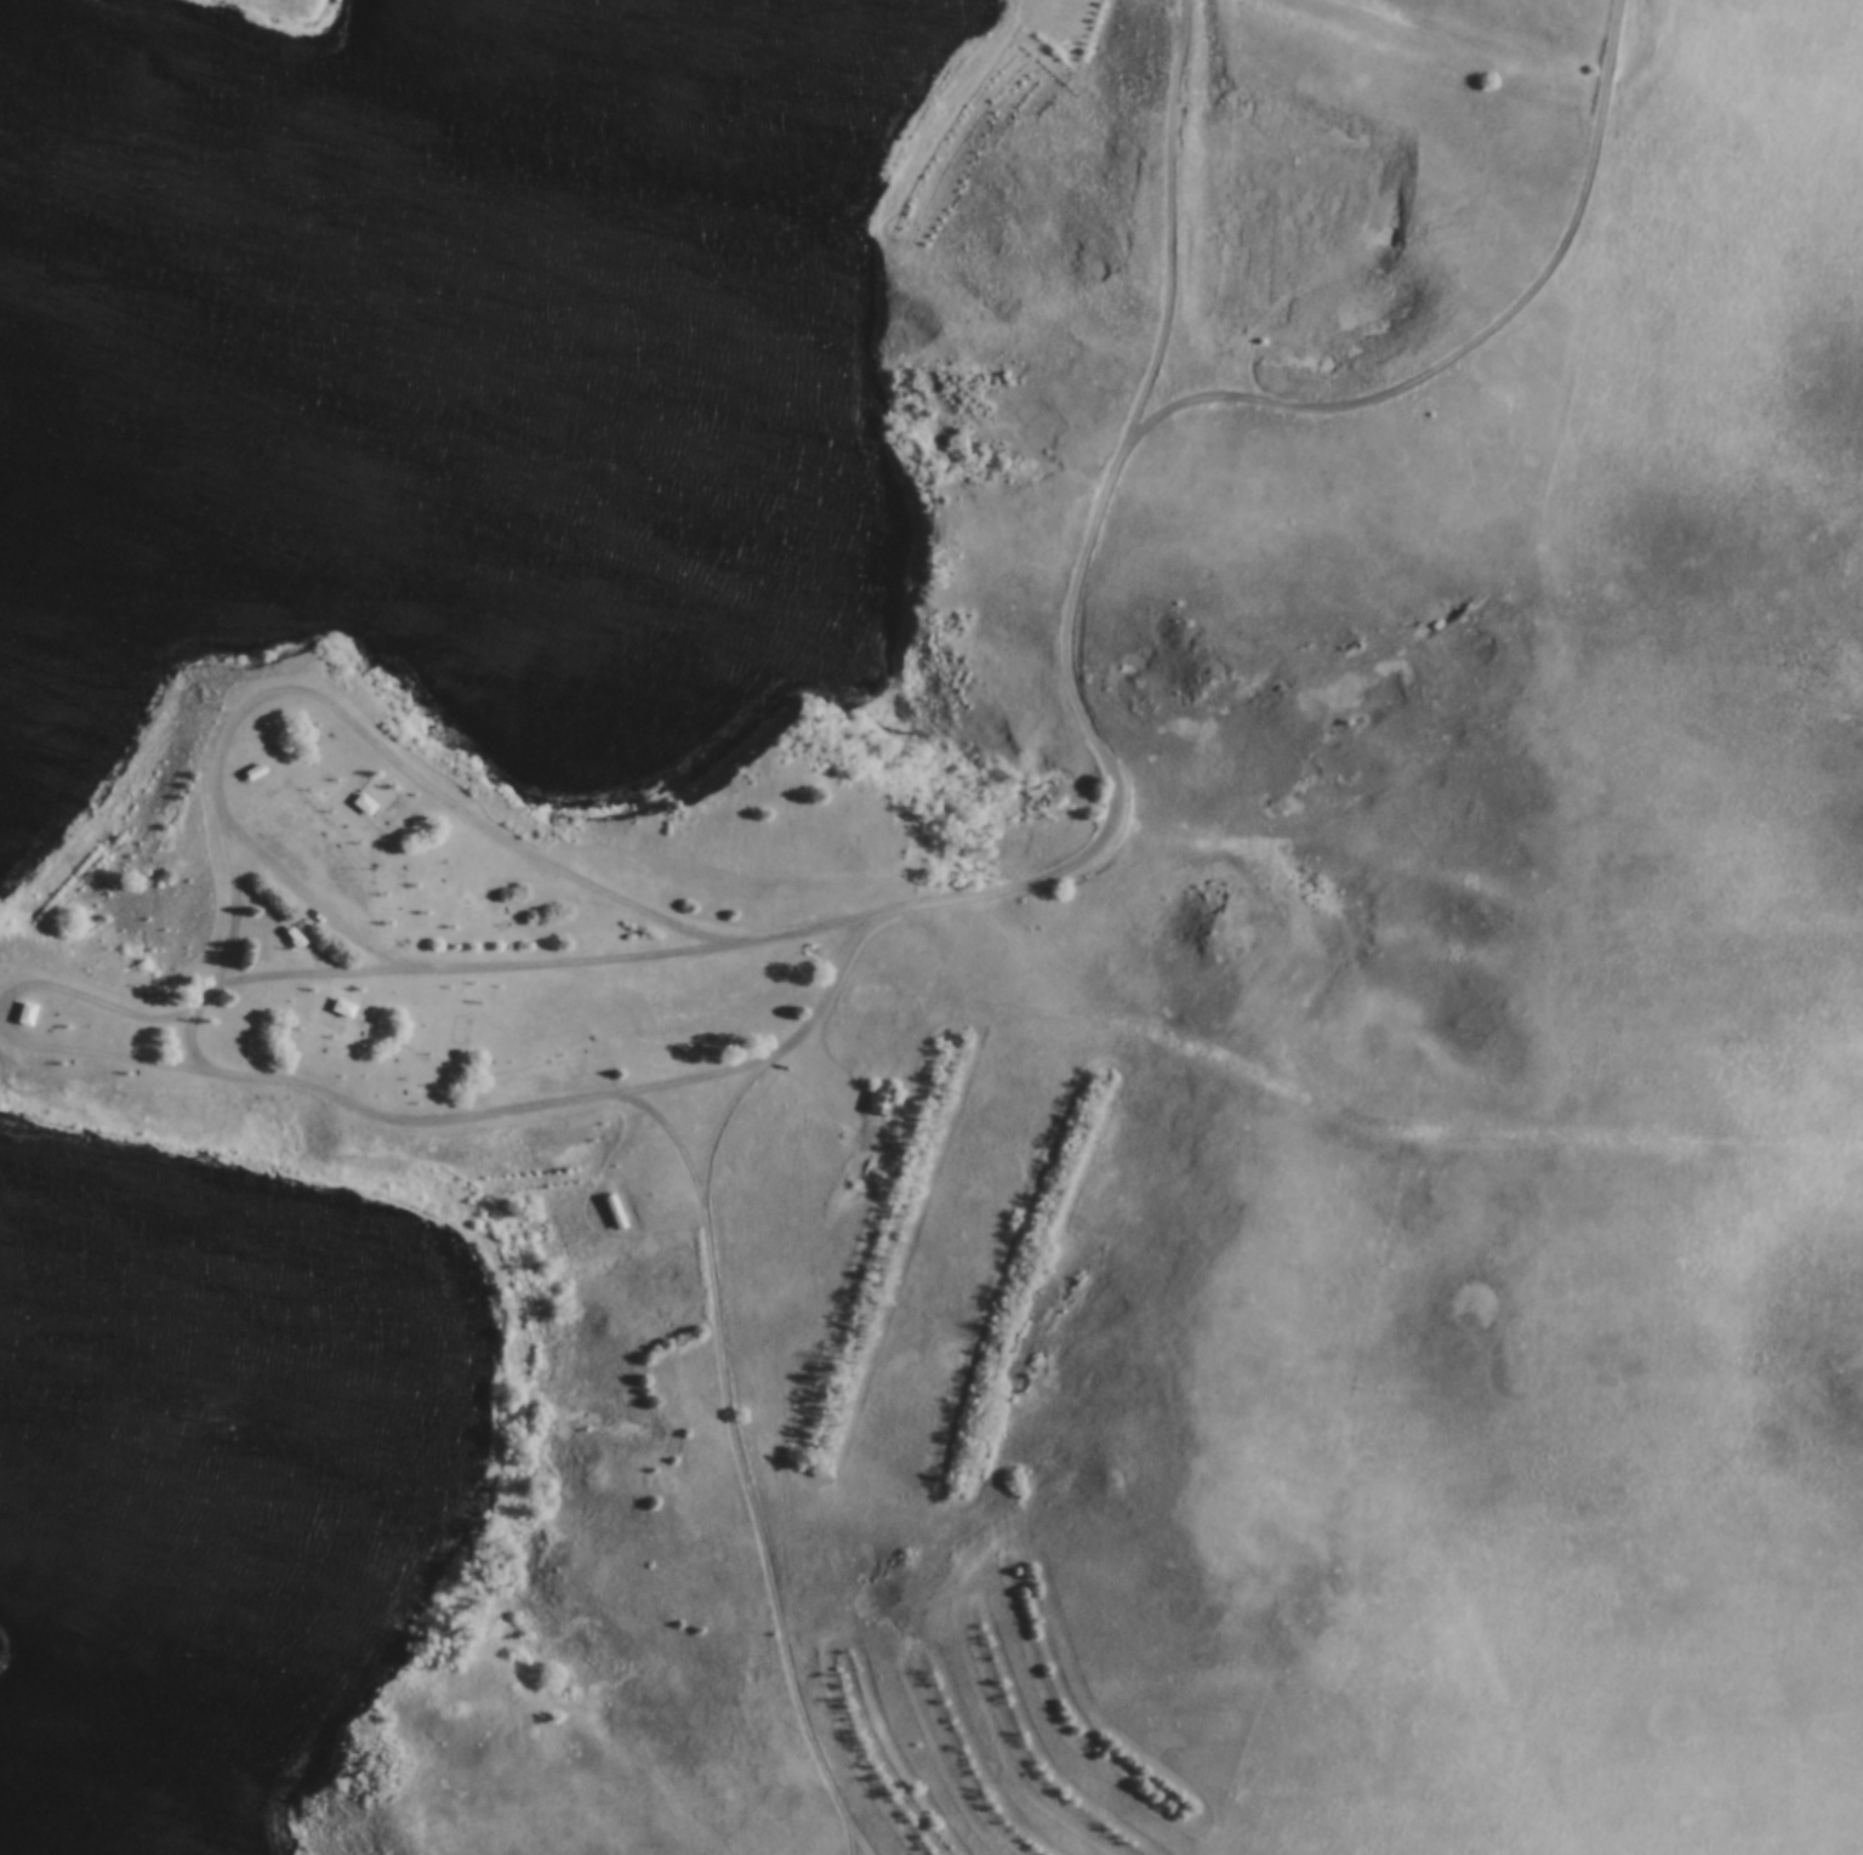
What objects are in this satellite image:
road: (1476, 336)
road: (272, 689)
building: (358, 802)
building: (294, 820)
building: (309, 833)
building: (392, 869)
park: (842, 926)
road: (270, 973)
building: (341, 1005)
building: (22, 1011)
road: (793, 1036)
building: (879, 1097)
road: (724, 1115)
building: (615, 1210)
road: (745, 1459)
road: (855, 1836)

